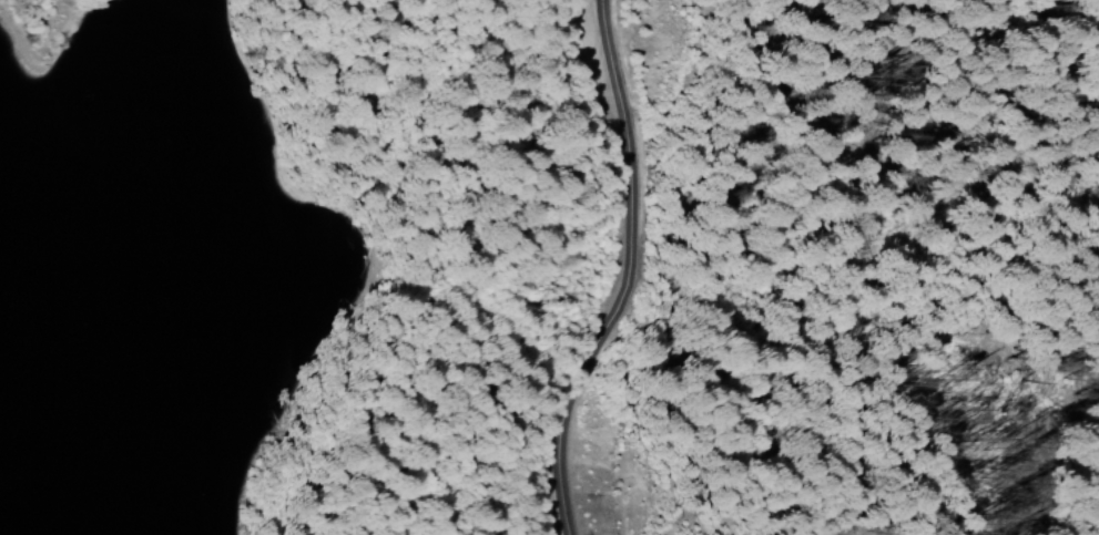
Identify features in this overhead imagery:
road: (408, 106)
road: (634, 270)

